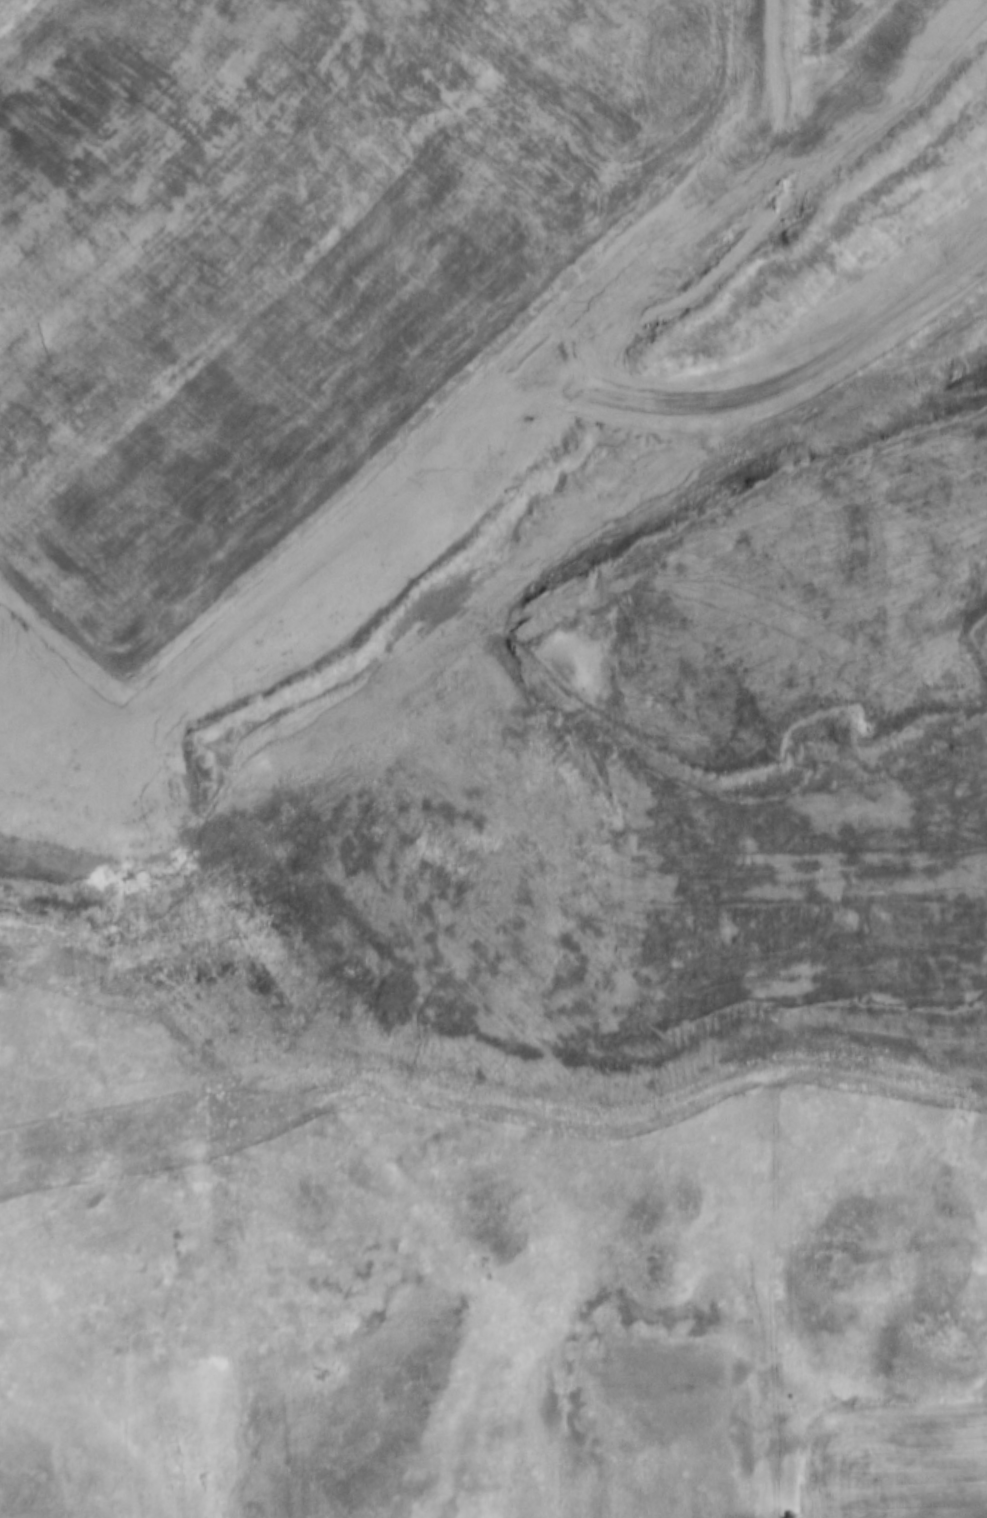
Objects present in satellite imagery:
road: (773, 758)

